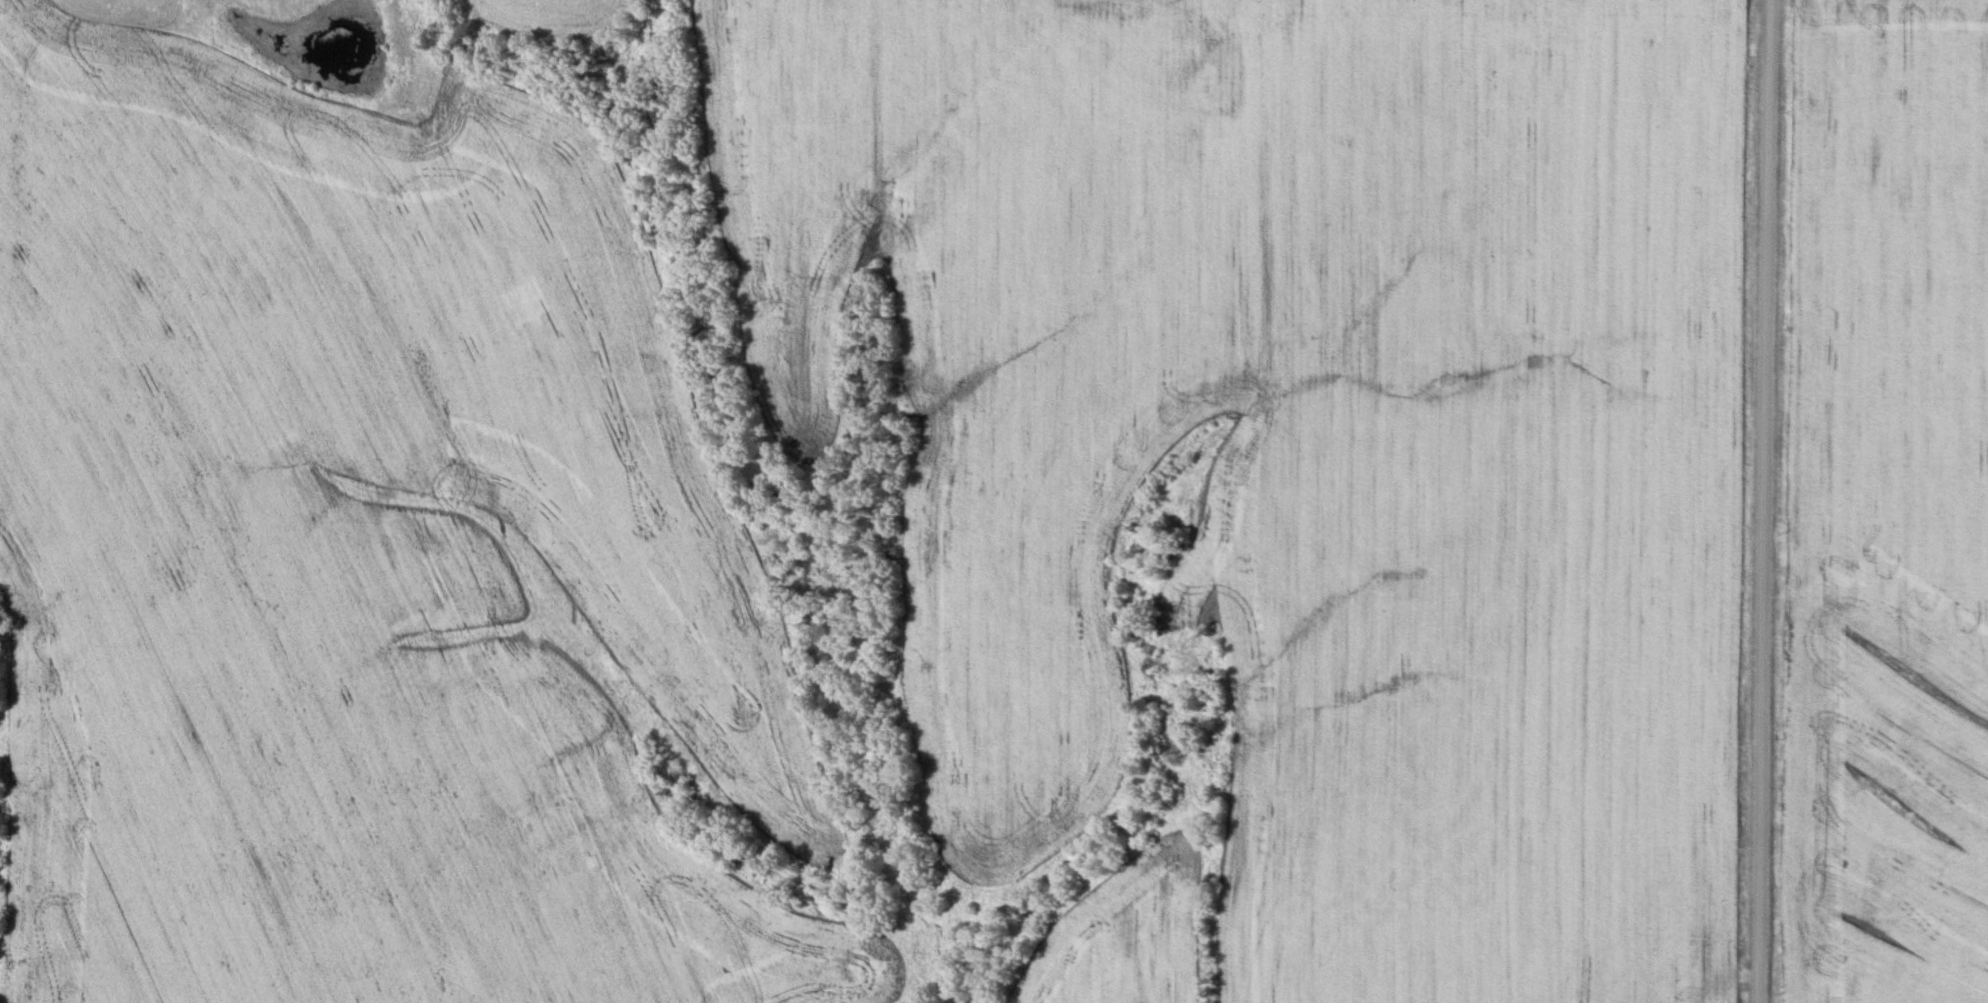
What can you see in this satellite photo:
road: (1762, 501)

